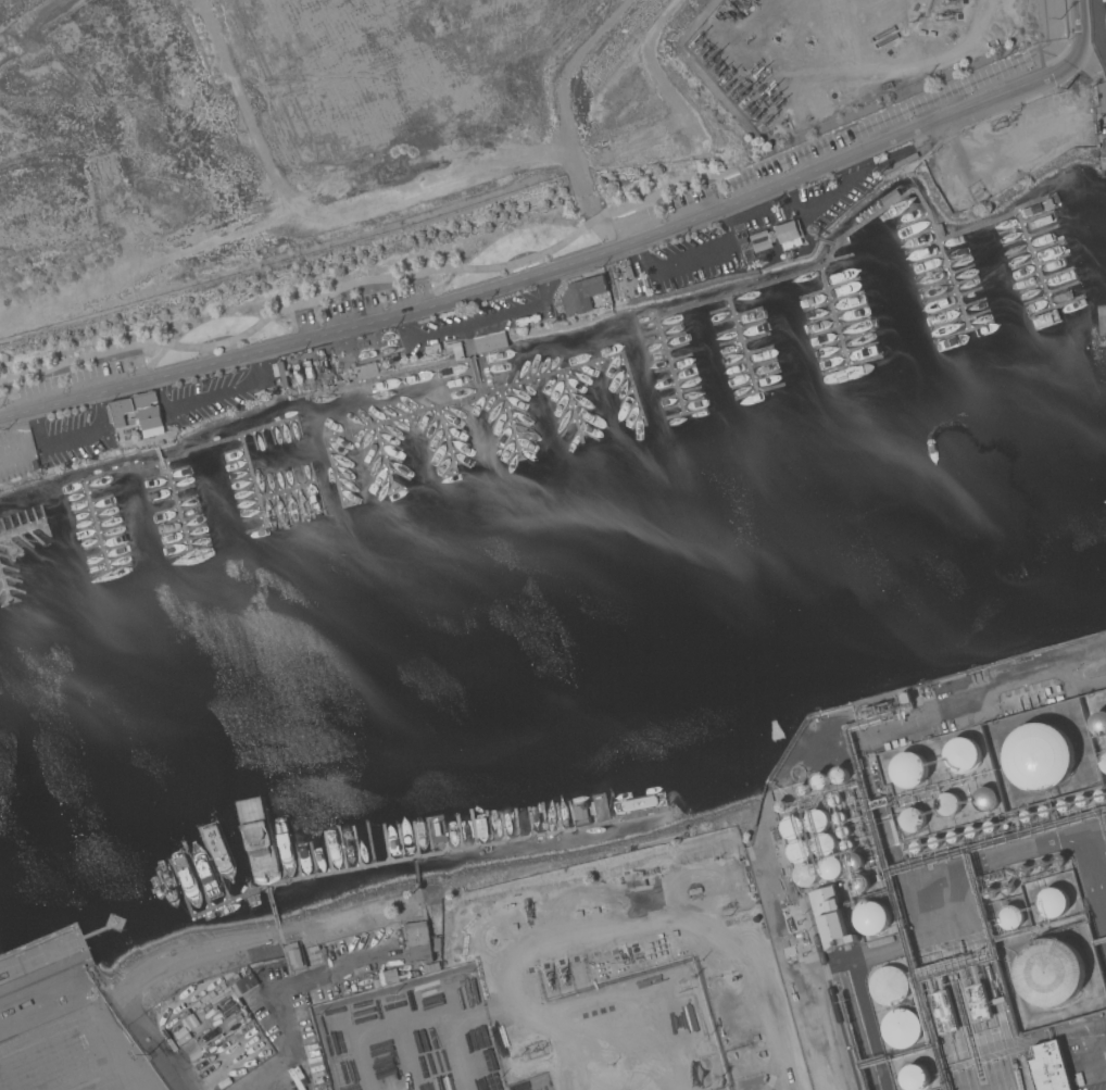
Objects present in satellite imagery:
petroleum well: (740, 0)
petroleum well: (732, 9)
petroleum well: (726, 15)
petroleum well: (944, 16)
road: (1081, 16)
building: (921, 33)
building: (931, 34)
petroleum well: (695, 40)
petroleum well: (699, 47)
petroleum well: (705, 53)
petroleum well: (709, 60)
petroleum well: (717, 65)
petroleum well: (753, 67)
petroleum well: (721, 71)
petroleum well: (758, 73)
petroleum well: (726, 76)
petroleum well: (730, 83)
petroleum well: (734, 89)
petroleum well: (770, 89)
petroleum well: (740, 95)
petroleum well: (774, 97)
petroleum well: (744, 100)
petroleum well: (777, 102)
petroleum well: (749, 105)
petroleum well: (754, 109)
petroleum well: (758, 113)
petroleum well: (766, 121)
pier: (1021, 221)
building: (758, 235)
building: (789, 235)
building: (762, 246)
road: (693, 258)
road: (562, 267)
pier: (824, 267)
building: (582, 295)
pier: (835, 316)
building: (1104, 323)
building: (490, 342)
pier: (743, 343)
building: (432, 349)
building: (456, 350)
building: (366, 369)
road: (211, 394)
pier: (478, 394)
pier: (574, 405)
building: (128, 409)
building: (151, 419)
pier: (512, 423)
pier: (447, 438)
pier: (386, 458)
pier: (148, 465)
pier: (254, 481)
pier: (286, 492)
pier: (173, 499)
pier: (50, 526)
pier: (5, 586)
building: (882, 705)
building: (1098, 724)
building: (962, 754)
building: (1038, 757)
building: (1103, 762)
building: (906, 772)
building: (839, 775)
building: (819, 780)
building: (984, 799)
building: (947, 805)
building: (912, 819)
building: (817, 820)
building: (794, 828)
building: (825, 844)
building: (800, 852)
building: (853, 862)
building: (831, 867)
building: (807, 875)
building: (859, 882)
building: (1053, 903)
petroleum well: (527, 906)
building: (1010, 917)
building: (830, 918)
building: (872, 918)
building: (418, 941)
road: (206, 952)
building: (296, 956)
building: (1052, 973)
building: (368, 982)
building: (244, 986)
building: (889, 986)
railway: (833, 992)
building: (849, 1000)
road: (277, 1001)
building: (977, 1003)
building: (943, 1013)
building: (901, 1028)
railway: (862, 1031)
building: (1048, 1067)
building: (914, 1077)
road: (243, 1089)

